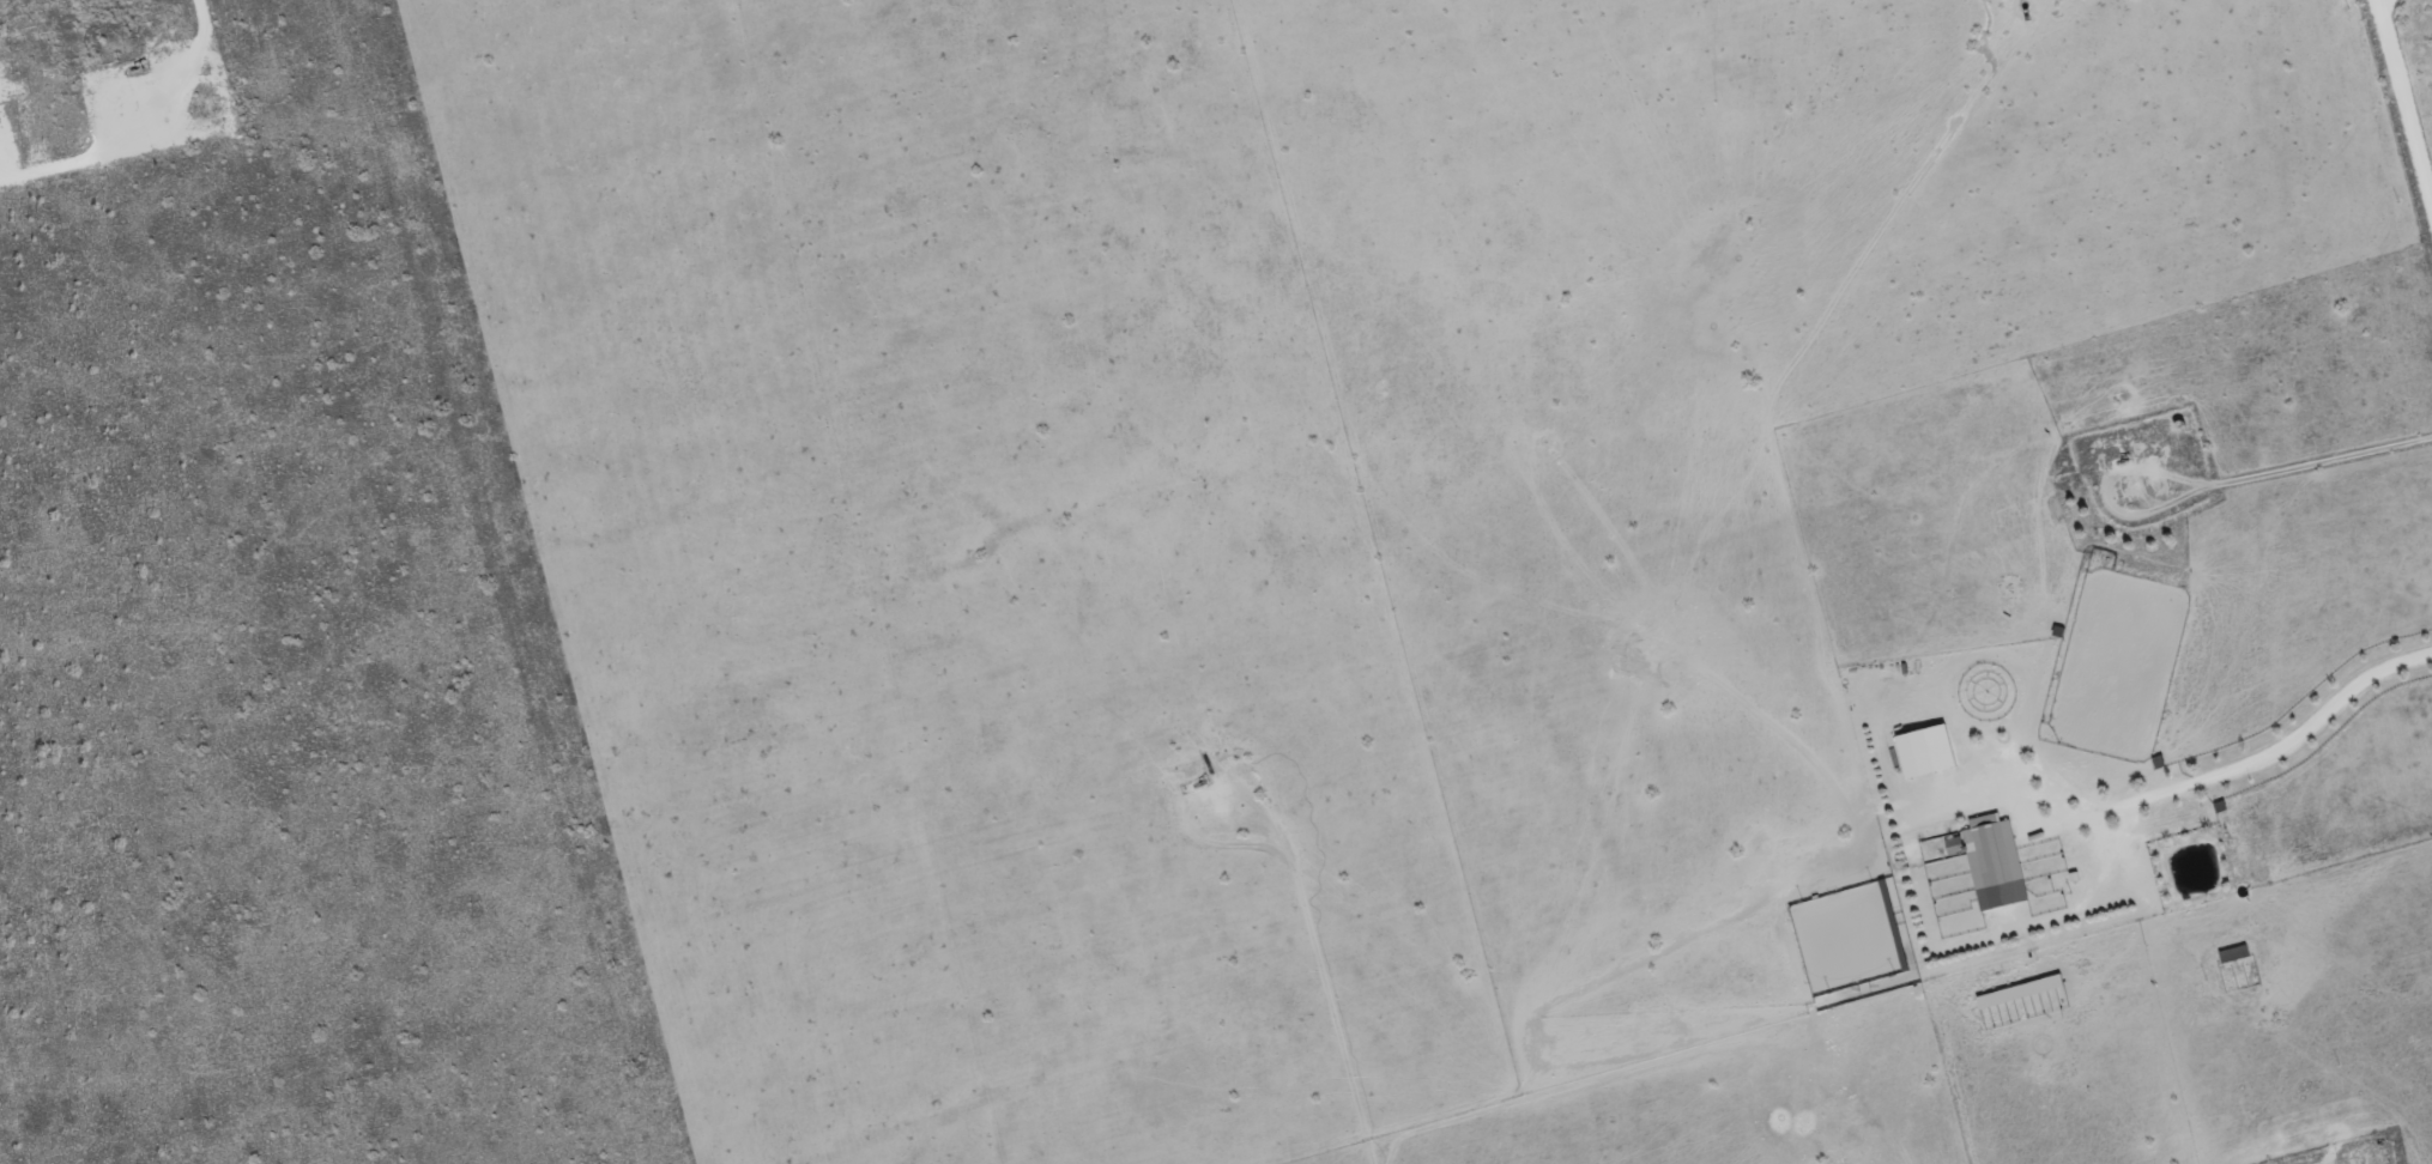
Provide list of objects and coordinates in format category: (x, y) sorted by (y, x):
road: (2408, 95)

